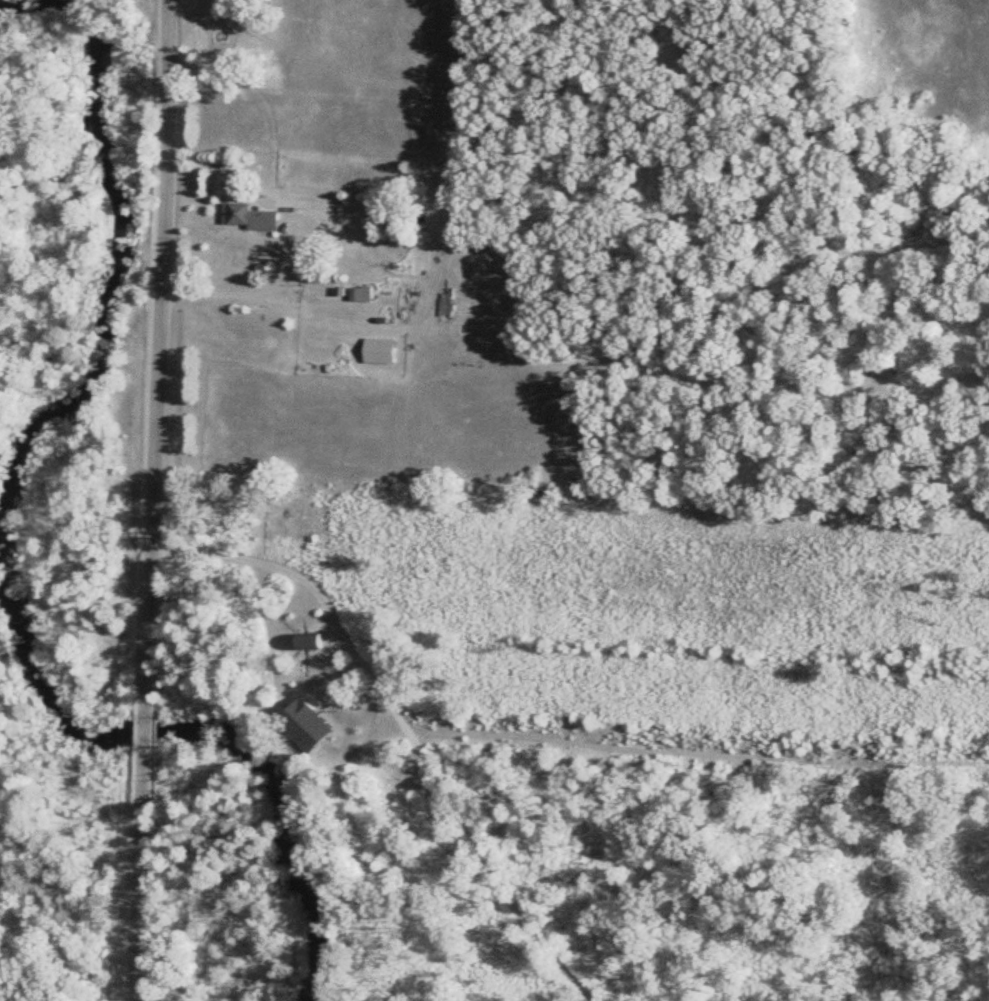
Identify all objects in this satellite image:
building: (247, 216)
river: (118, 258)
building: (359, 293)
road: (158, 350)
building: (377, 350)
building: (308, 643)
road: (147, 732)
building: (304, 733)
river: (213, 735)
road: (141, 882)

